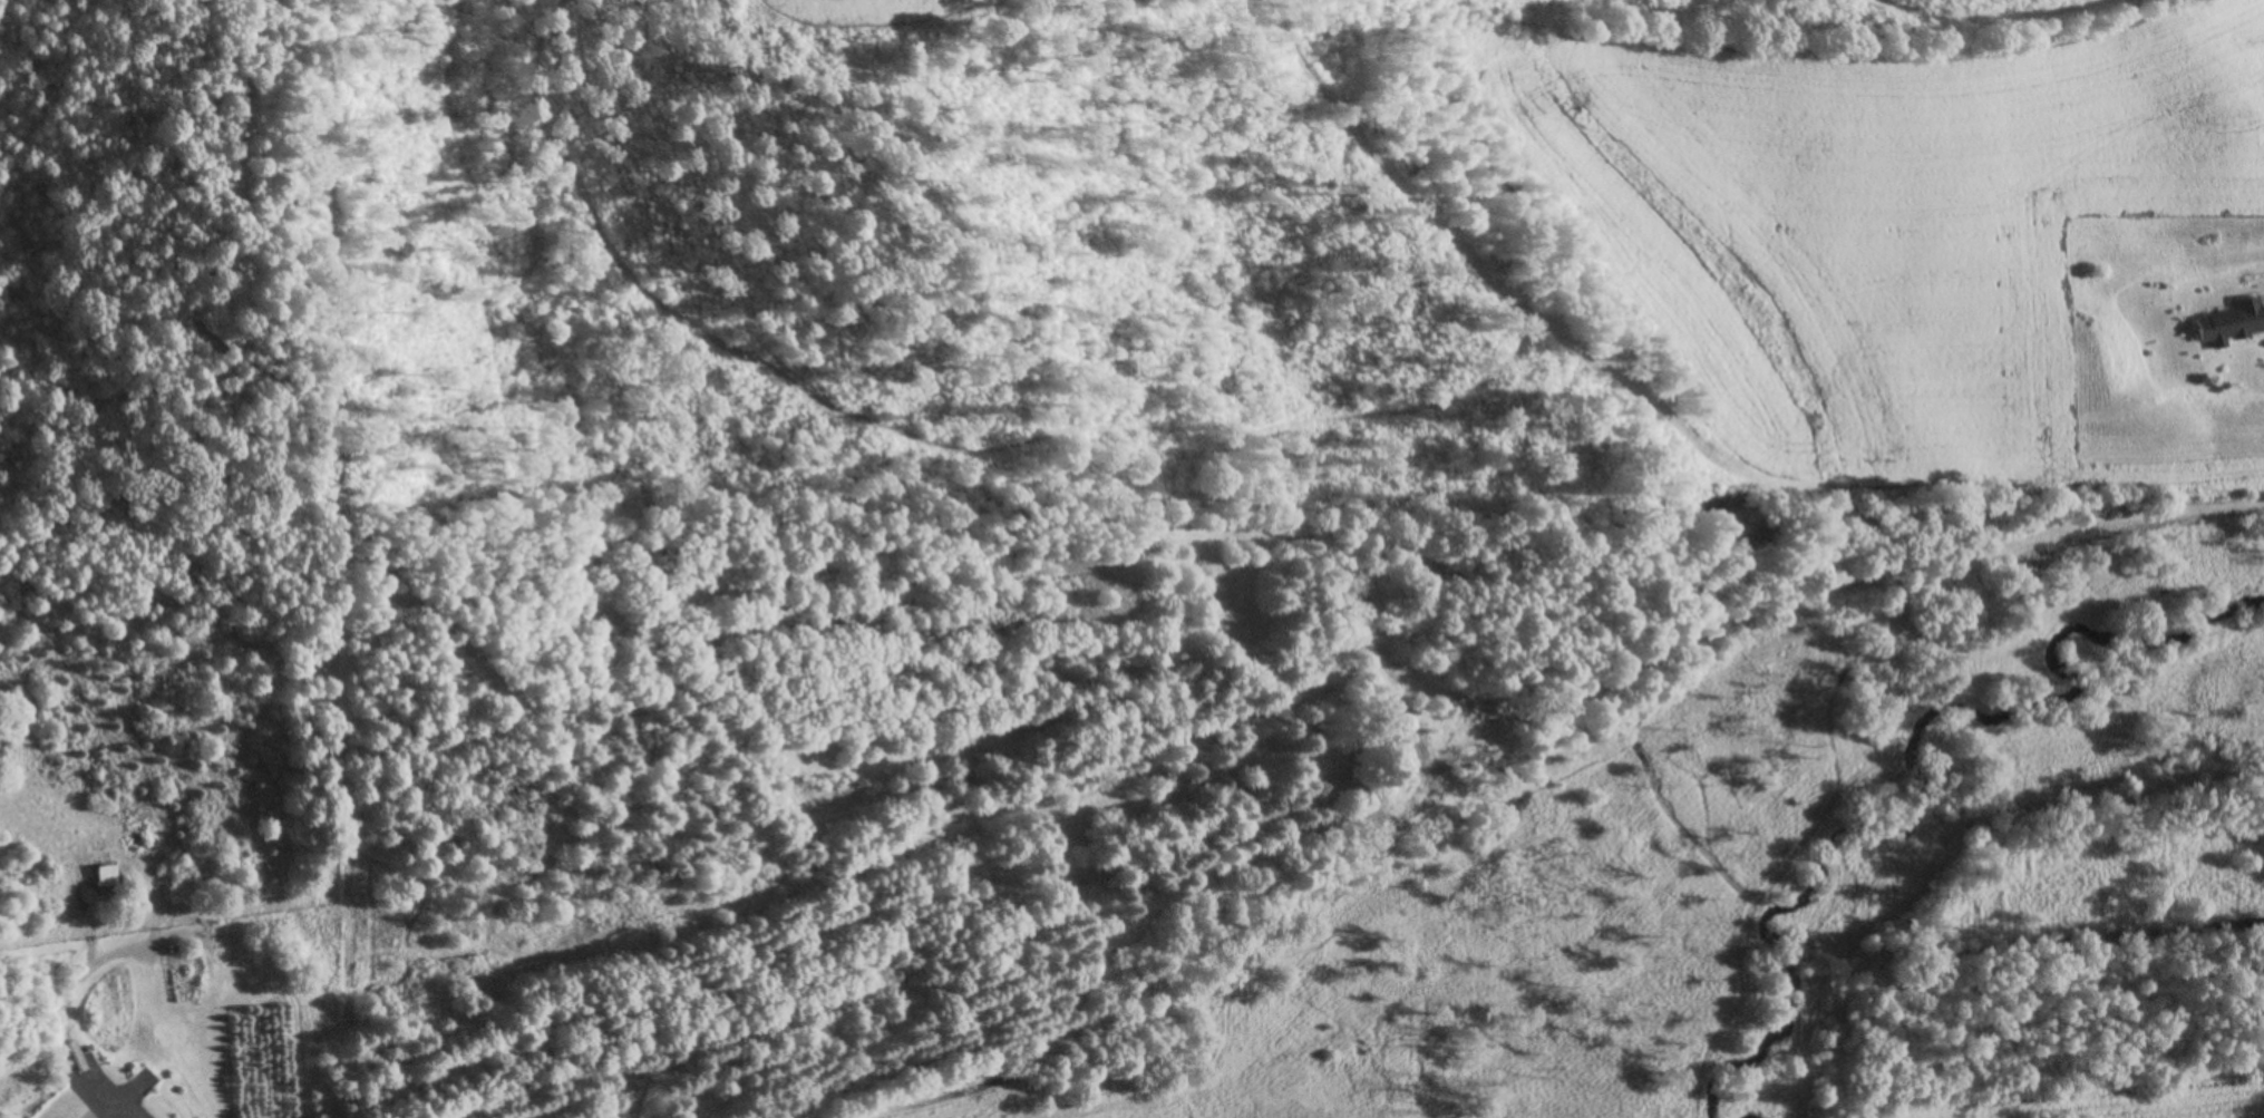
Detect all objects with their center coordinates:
crop: (873, 9)
building: (2232, 320)
building: (279, 927)
road: (100, 962)
road: (109, 1096)

